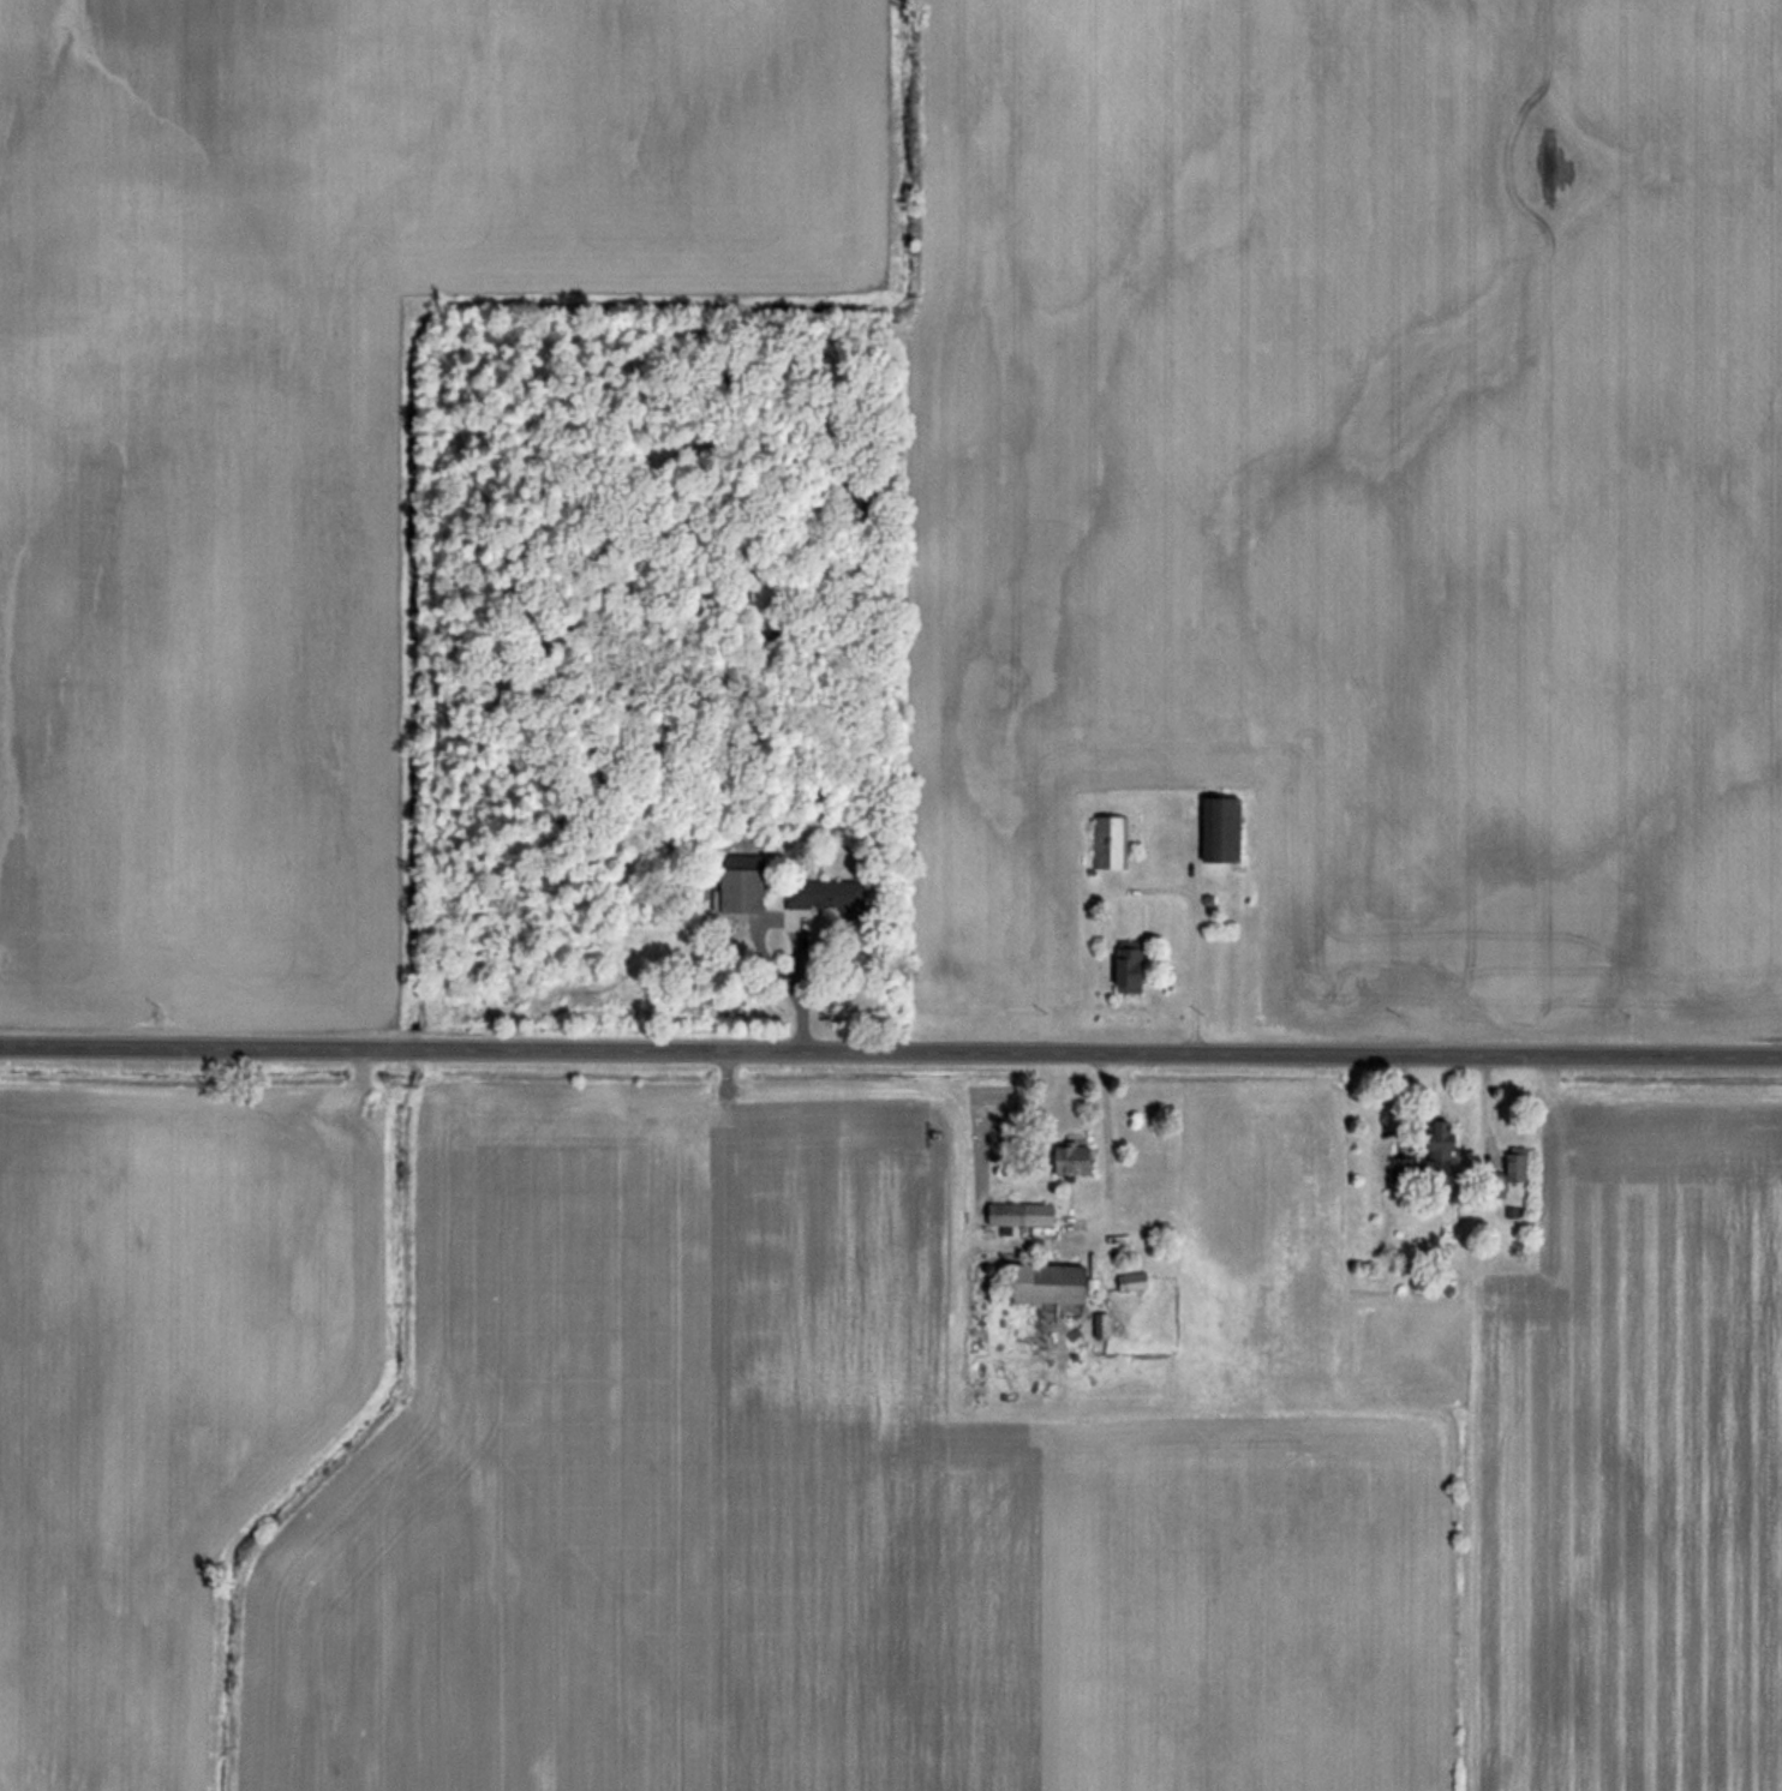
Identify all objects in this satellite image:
building: (1214, 828)
building: (1108, 841)
building: (752, 891)
road: (789, 933)
building: (1123, 969)
road: (1194, 983)
road: (890, 1054)
building: (1434, 1142)
road: (1107, 1150)
building: (1064, 1157)
building: (1505, 1172)
building: (1015, 1214)
building: (1037, 1282)

